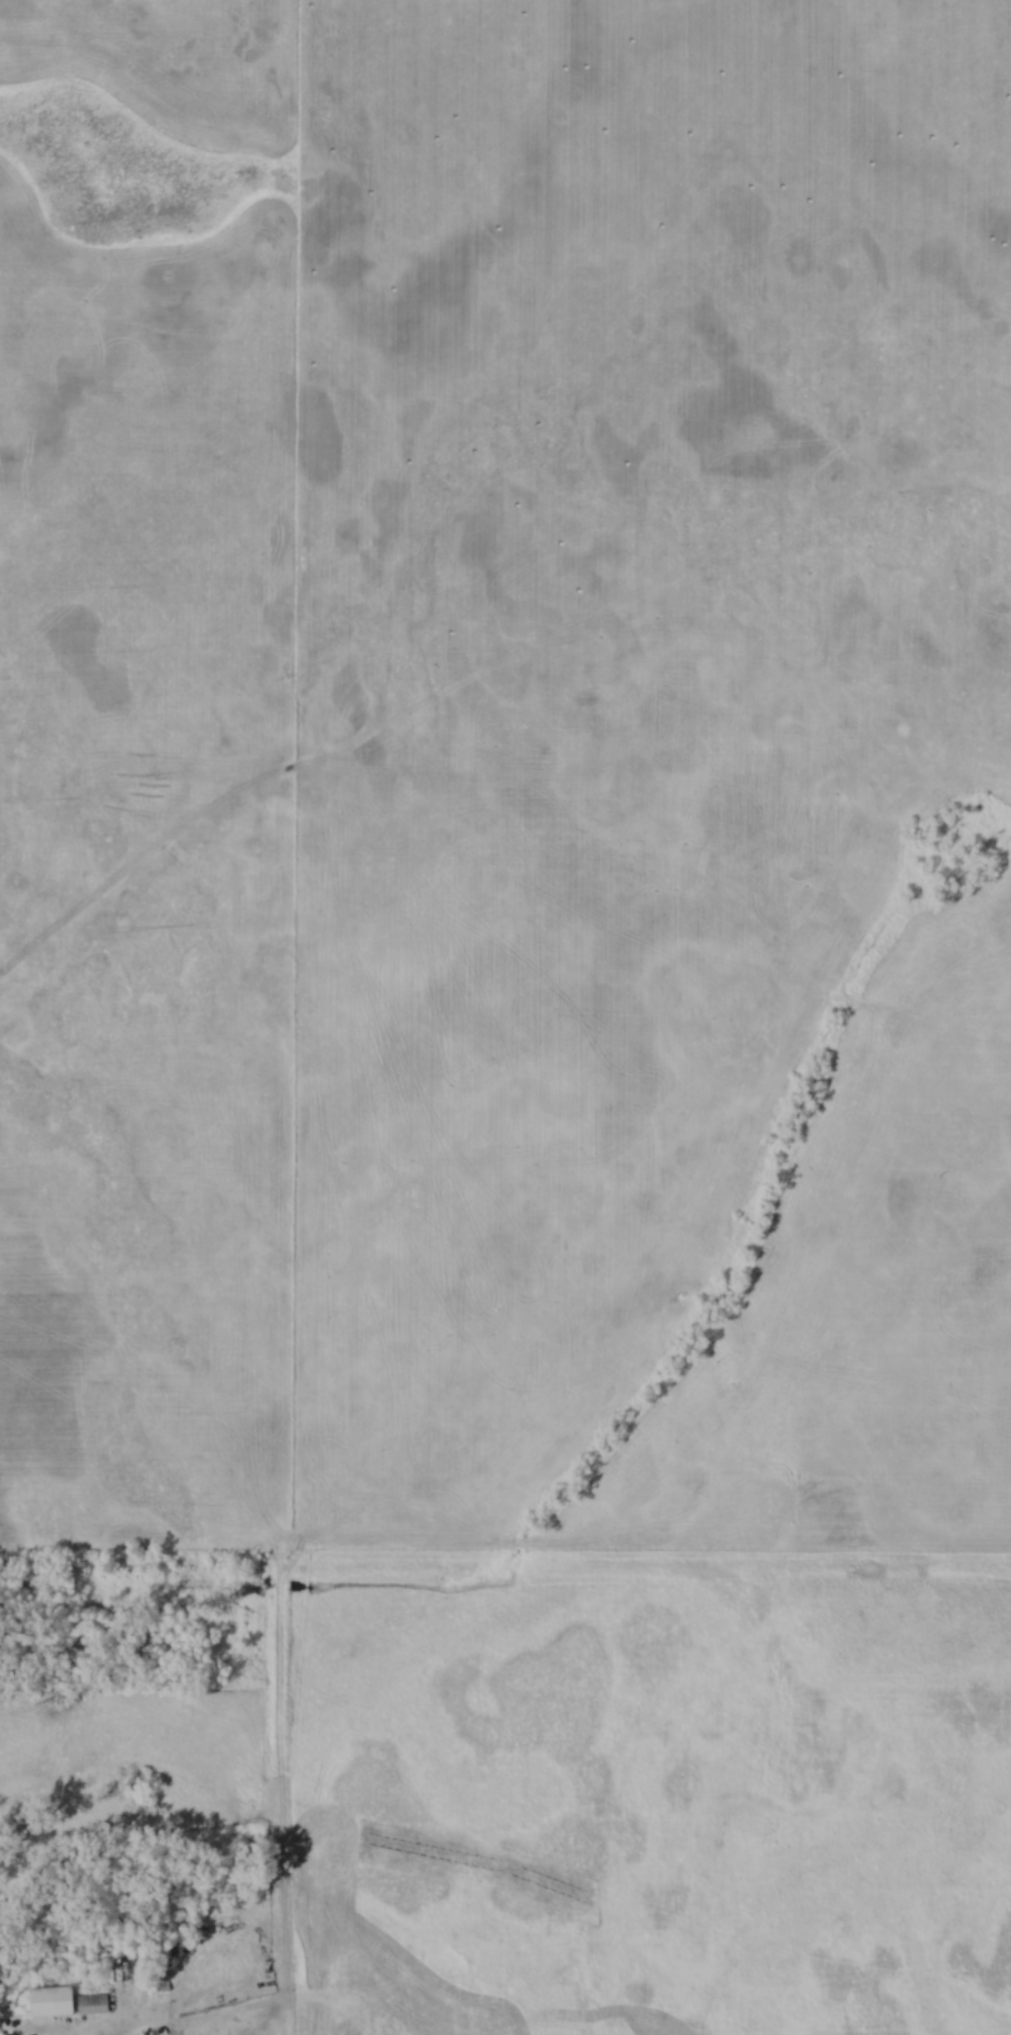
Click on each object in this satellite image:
building: (52, 2004)
building: (93, 2006)

